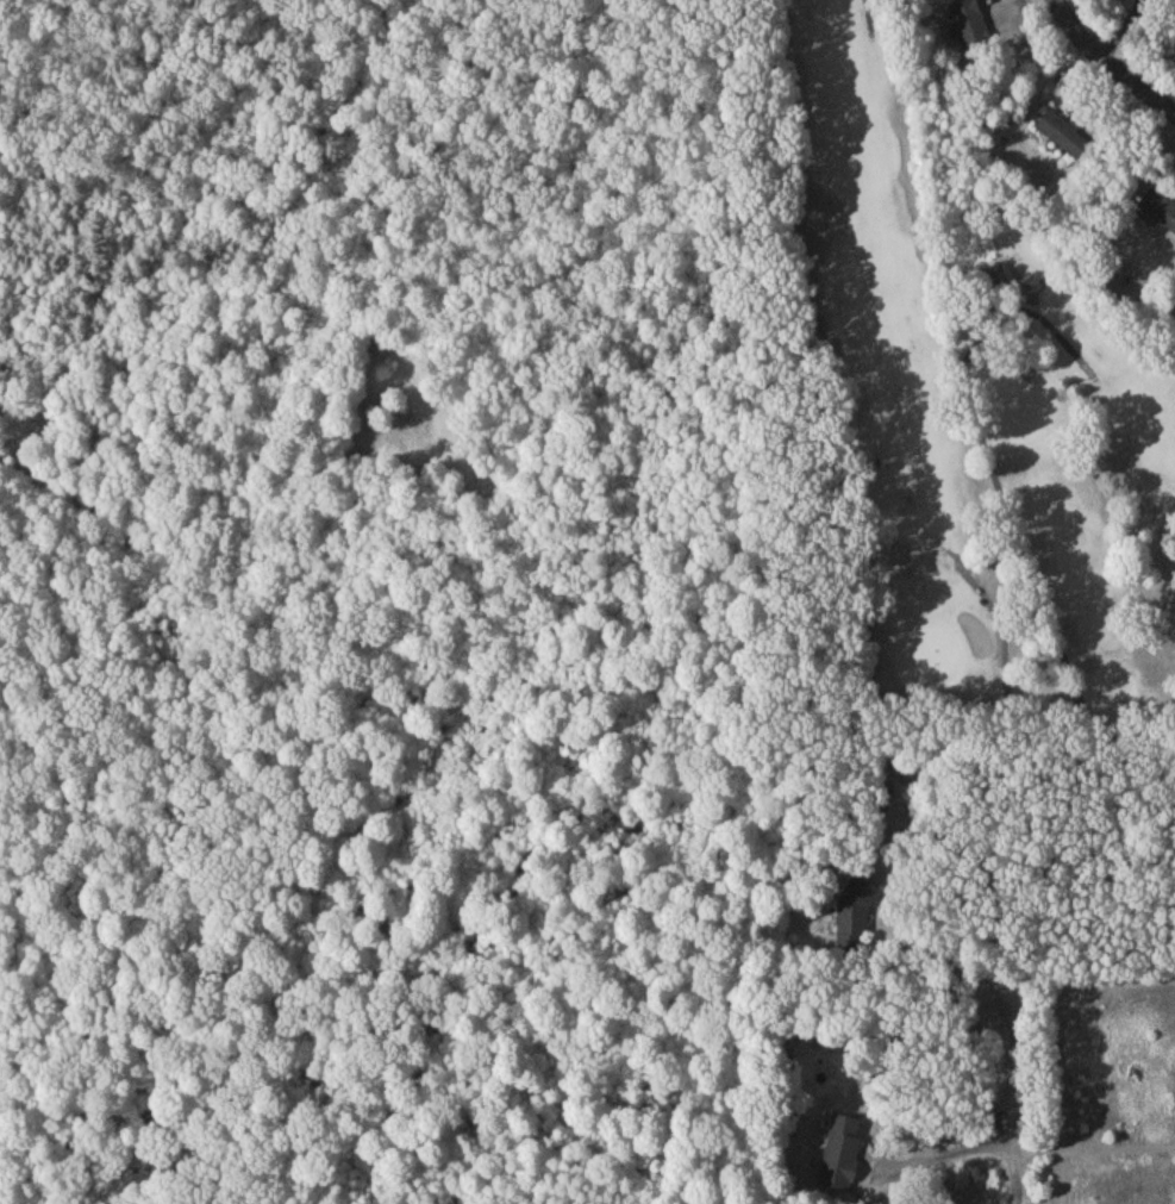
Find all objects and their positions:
building: (971, 26)
road: (1110, 60)
building: (1064, 137)
building: (1160, 211)
park: (995, 344)
road: (999, 854)
building: (856, 919)
road: (1023, 1097)
road: (951, 1133)
building: (844, 1158)

